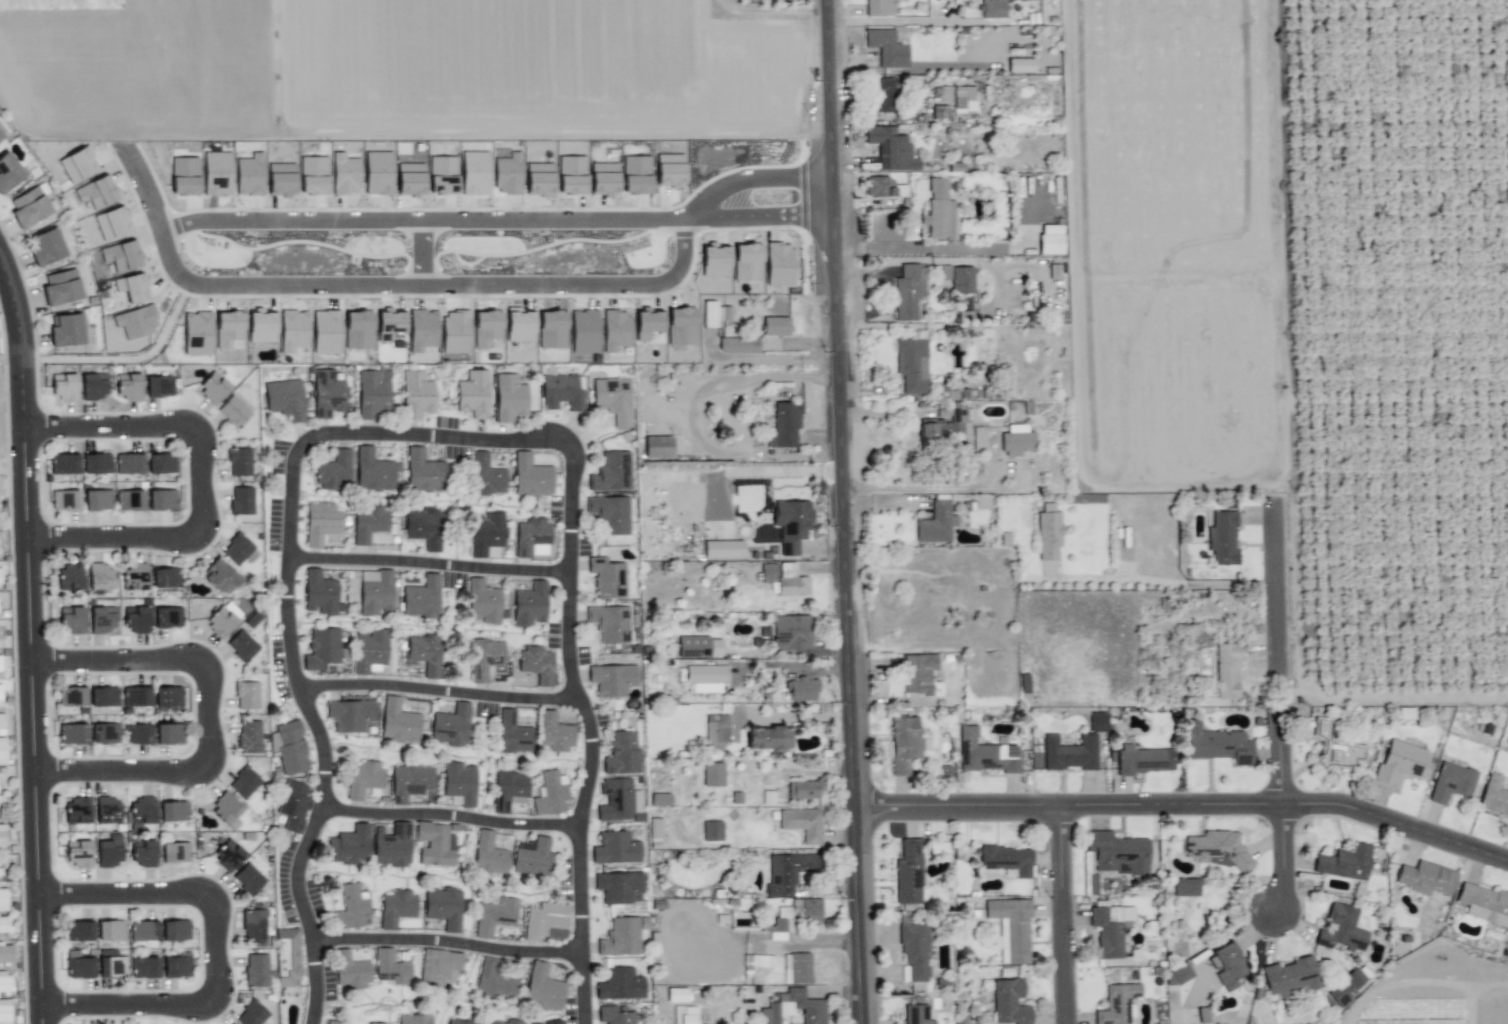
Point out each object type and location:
building: (879, 7)
building: (992, 8)
road: (903, 21)
building: (886, 48)
building: (1021, 65)
building: (883, 93)
building: (964, 99)
building: (1, 135)
building: (891, 149)
building: (78, 164)
building: (669, 170)
building: (8, 172)
building: (378, 172)
building: (474, 172)
building: (216, 173)
building: (507, 173)
building: (344, 174)
building: (636, 174)
building: (249, 175)
building: (313, 175)
building: (442, 175)
building: (571, 175)
building: (184, 176)
building: (281, 179)
building: (410, 179)
building: (539, 179)
building: (603, 179)
road: (826, 186)
road: (142, 187)
building: (879, 187)
building: (96, 192)
building: (29, 207)
building: (939, 211)
building: (112, 223)
building: (1050, 239)
building: (45, 247)
road: (419, 252)
building: (121, 256)
building: (714, 259)
building: (747, 262)
road: (175, 263)
building: (779, 264)
building: (962, 280)
building: (61, 287)
building: (133, 287)
building: (909, 291)
building: (709, 313)
building: (136, 321)
building: (389, 323)
building: (519, 324)
building: (648, 325)
building: (261, 326)
building: (681, 326)
building: (775, 326)
building: (486, 327)
building: (358, 329)
building: (552, 329)
building: (615, 329)
building: (66, 330)
building: (229, 330)
building: (293, 330)
building: (326, 331)
building: (584, 331)
building: (455, 332)
building: (197, 333)
building: (738, 345)
building: (912, 365)
building: (63, 386)
building: (92, 386)
building: (128, 386)
building: (158, 386)
building: (213, 387)
building: (562, 392)
building: (327, 394)
building: (371, 394)
building: (473, 394)
building: (416, 395)
building: (509, 398)
building: (284, 399)
building: (613, 399)
road: (640, 411)
building: (233, 412)
building: (784, 425)
building: (944, 427)
building: (1016, 443)
building: (657, 446)
building: (239, 461)
building: (64, 463)
building: (96, 463)
building: (128, 463)
building: (160, 463)
building: (334, 471)
building: (372, 471)
building: (423, 472)
building: (610, 472)
building: (486, 476)
building: (530, 476)
road: (203, 481)
road: (926, 488)
road: (377, 496)
building: (162, 499)
building: (64, 500)
building: (97, 500)
building: (129, 500)
building: (241, 500)
road: (497, 504)
road: (845, 511)
railway: (696, 512)
building: (610, 514)
building: (320, 522)
building: (369, 522)
building: (936, 523)
building: (791, 524)
building: (423, 527)
building: (1049, 532)
building: (485, 533)
road: (455, 535)
building: (532, 538)
building: (1222, 539)
building: (236, 549)
building: (723, 549)
road: (373, 563)
road: (514, 572)
building: (70, 576)
building: (100, 576)
building: (220, 576)
building: (134, 577)
building: (165, 577)
building: (607, 578)
building: (0, 579)
building: (785, 579)
road: (454, 580)
building: (319, 592)
building: (375, 592)
building: (421, 598)
building: (482, 602)
building: (530, 604)
road: (292, 614)
building: (167, 617)
building: (103, 619)
building: (135, 619)
building: (71, 620)
building: (221, 621)
building: (610, 623)
road: (432, 626)
building: (791, 632)
road: (32, 641)
road: (456, 642)
building: (241, 645)
building: (692, 647)
building: (715, 647)
building: (322, 648)
building: (369, 649)
building: (424, 654)
building: (486, 659)
building: (0, 663)
building: (536, 664)
building: (1227, 669)
building: (918, 673)
building: (705, 678)
building: (612, 679)
building: (803, 689)
road: (442, 694)
building: (246, 695)
building: (0, 696)
building: (71, 696)
building: (103, 696)
building: (135, 696)
building: (168, 696)
road: (1282, 708)
road: (212, 714)
building: (350, 715)
building: (398, 721)
building: (1097, 722)
building: (2, 724)
building: (451, 726)
road: (591, 726)
building: (716, 731)
building: (554, 732)
building: (72, 733)
building: (104, 733)
building: (136, 733)
building: (169, 733)
building: (513, 733)
building: (248, 736)
building: (768, 739)
building: (903, 743)
building: (1216, 744)
building: (289, 747)
building: (1334, 748)
building: (2, 751)
building: (985, 753)
building: (1070, 753)
building: (622, 754)
road: (459, 757)
building: (1144, 759)
building: (1399, 763)
building: (713, 774)
building: (364, 779)
building: (410, 782)
building: (459, 782)
building: (1451, 782)
building: (244, 783)
building: (508, 789)
building: (804, 789)
building: (550, 794)
building: (1494, 795)
building: (660, 799)
building: (619, 801)
building: (293, 805)
road: (1186, 805)
building: (76, 810)
building: (107, 810)
building: (226, 810)
building: (173, 811)
building: (140, 812)
road: (453, 818)
building: (802, 823)
building: (712, 830)
building: (2, 838)
building: (433, 844)
building: (349, 845)
building: (392, 845)
road: (465, 848)
building: (615, 848)
building: (1216, 848)
building: (109, 851)
building: (175, 852)
building: (78, 853)
building: (142, 853)
building: (1116, 853)
building: (228, 854)
building: (489, 854)
building: (531, 856)
building: (1007, 859)
building: (1344, 862)
building: (0, 871)
building: (787, 872)
building: (908, 872)
road: (429, 874)
building: (1425, 878)
building: (248, 879)
building: (618, 887)
building: (1186, 887)
building: (3, 900)
building: (1484, 904)
building: (351, 907)
building: (396, 907)
building: (443, 907)
road: (1066, 915)
building: (494, 916)
building: (810, 917)
building: (546, 921)
building: (3, 923)
building: (253, 927)
building: (1011, 929)
building: (1110, 929)
building: (1341, 929)
building: (78, 930)
building: (110, 930)
building: (143, 930)
building: (175, 930)
building: (622, 936)
road: (449, 944)
road: (219, 950)
building: (915, 951)
building: (6, 954)
building: (287, 957)
building: (111, 963)
building: (78, 965)
building: (438, 965)
building: (176, 966)
building: (1229, 966)
building: (144, 967)
building: (798, 967)
building: (391, 968)
building: (256, 970)
building: (350, 971)
building: (1178, 974)
building: (1290, 976)
building: (494, 980)
building: (1355, 980)
building: (5, 983)
building: (620, 984)
road: (459, 986)
building: (543, 988)
road: (190, 992)
building: (1338, 996)
building: (1009, 1002)
building: (1117, 1004)
building: (793, 1008)
building: (4, 1011)
building: (251, 1014)
building: (615, 1015)
building: (916, 1015)
building: (1202, 1015)
building: (413, 1019)
road: (109, 1021)
building: (459, 1022)
building: (506, 1022)
building: (551, 1022)
building: (332, 1023)
building: (375, 1023)

